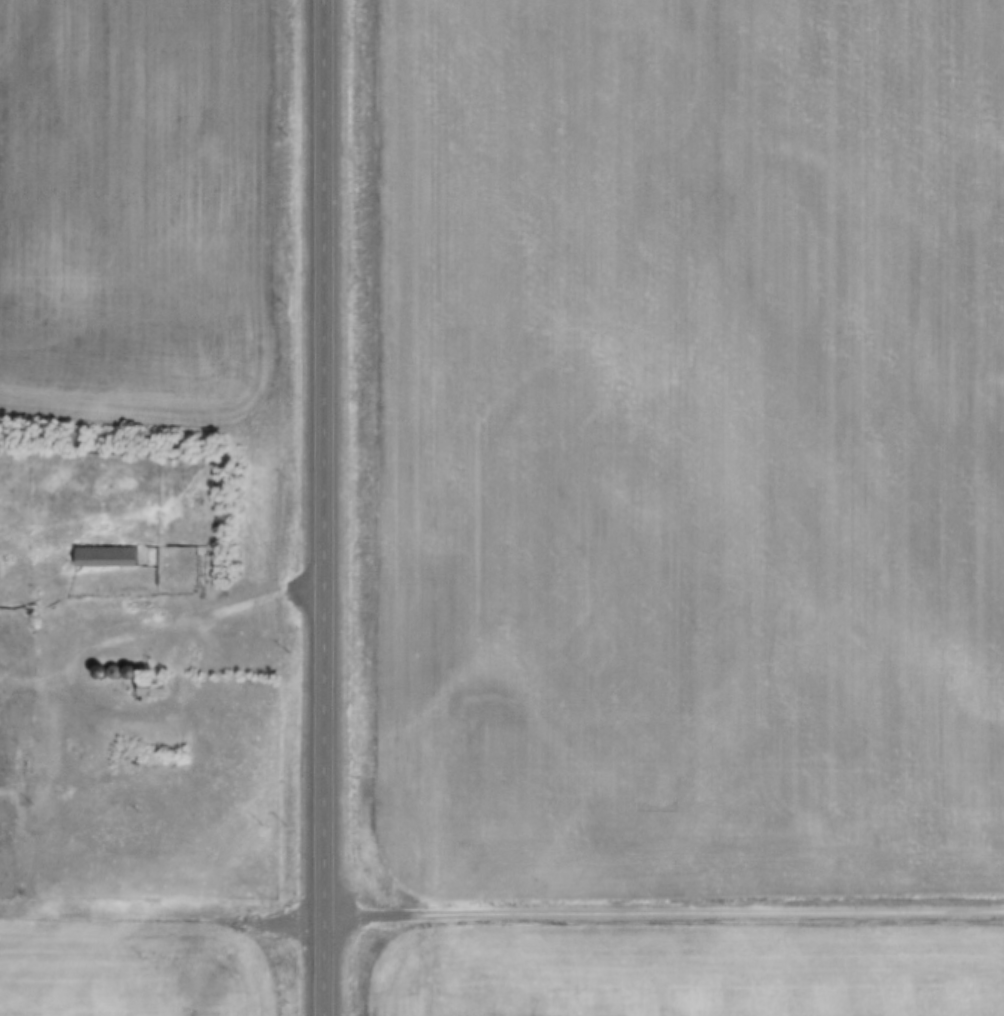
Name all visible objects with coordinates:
road: (324, 507)
building: (106, 556)
road: (78, 644)
building: (116, 672)
building: (155, 688)
road: (501, 914)

